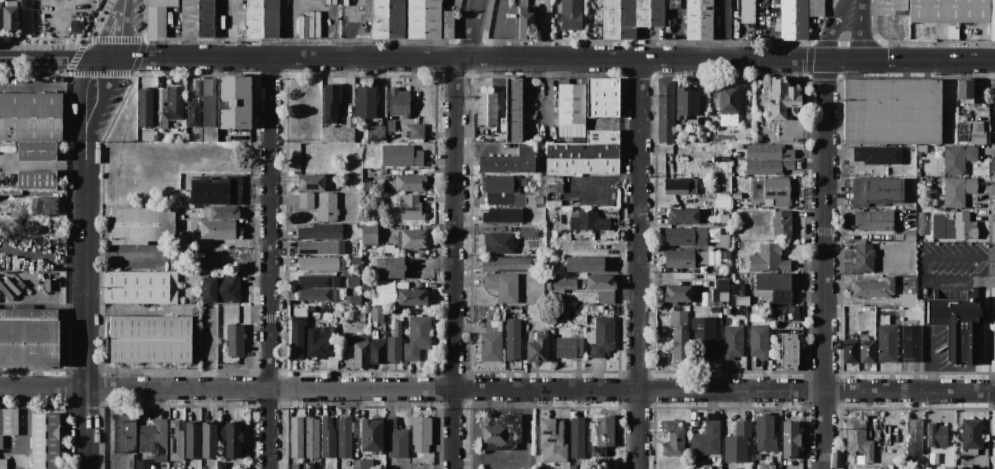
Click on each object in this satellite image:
building: (899, 4)
building: (815, 8)
building: (747, 11)
building: (949, 11)
building: (649, 13)
building: (10, 14)
building: (571, 15)
building: (1, 17)
building: (25, 17)
building: (157, 17)
building: (198, 18)
building: (263, 18)
building: (387, 18)
building: (618, 19)
building: (699, 19)
building: (794, 19)
building: (429, 20)
building: (992, 20)
building: (525, 21)
building: (303, 26)
road: (117, 29)
road: (851, 34)
road: (116, 39)
road: (68, 44)
road: (136, 56)
road: (75, 57)
road: (52, 58)
road: (464, 59)
road: (909, 60)
road: (100, 73)
building: (197, 88)
building: (965, 90)
building: (602, 98)
building: (783, 98)
building: (366, 100)
building: (728, 100)
building: (207, 101)
building: (235, 102)
building: (399, 102)
building: (686, 102)
building: (331, 103)
building: (171, 105)
building: (145, 106)
building: (487, 108)
building: (514, 109)
building: (572, 110)
building: (665, 110)
building: (891, 111)
building: (193, 113)
building: (30, 116)
building: (391, 125)
building: (417, 131)
building: (209, 133)
building: (376, 133)
building: (337, 134)
building: (978, 138)
building: (37, 150)
building: (768, 151)
building: (877, 154)
building: (401, 155)
building: (585, 155)
building: (720, 158)
building: (958, 158)
building: (509, 161)
road: (43, 164)
building: (768, 167)
building: (721, 171)
building: (37, 180)
building: (312, 182)
building: (409, 182)
building: (502, 184)
building: (554, 184)
building: (680, 185)
building: (777, 190)
building: (877, 190)
building: (958, 190)
building: (216, 191)
building: (550, 196)
building: (500, 198)
building: (306, 200)
building: (528, 200)
building: (554, 203)
building: (722, 203)
building: (48, 206)
building: (326, 207)
building: (35, 208)
building: (412, 208)
building: (219, 212)
building: (503, 215)
building: (687, 216)
building: (723, 218)
building: (371, 219)
building: (873, 220)
building: (589, 221)
building: (921, 223)
building: (142, 225)
building: (181, 225)
building: (781, 225)
building: (965, 226)
building: (942, 227)
building: (219, 229)
building: (321, 231)
building: (529, 231)
road: (454, 232)
building: (369, 233)
building: (180, 235)
building: (910, 235)
building: (685, 236)
building: (412, 238)
building: (21, 242)
building: (189, 243)
building: (499, 243)
building: (320, 247)
building: (540, 252)
road: (122, 253)
building: (864, 257)
building: (681, 258)
building: (769, 259)
building: (356, 260)
road: (85, 262)
road: (268, 263)
building: (320, 263)
road: (638, 263)
building: (504, 264)
building: (584, 264)
road: (824, 264)
building: (395, 267)
road: (923, 271)
building: (352, 281)
building: (772, 281)
building: (318, 282)
building: (601, 282)
building: (561, 284)
building: (502, 286)
building: (140, 287)
building: (368, 287)
building: (221, 288)
building: (874, 288)
building: (722, 289)
building: (681, 293)
building: (315, 294)
building: (407, 297)
building: (782, 298)
building: (353, 300)
building: (742, 301)
building: (909, 301)
building: (367, 308)
building: (358, 309)
building: (379, 312)
building: (783, 312)
building: (678, 317)
building: (958, 326)
building: (347, 330)
building: (705, 335)
building: (29, 336)
building: (602, 336)
building: (417, 337)
building: (149, 338)
building: (297, 338)
building: (235, 339)
building: (513, 339)
building: (491, 341)
building: (733, 341)
building: (758, 341)
building: (395, 343)
building: (887, 343)
building: (912, 343)
building: (319, 344)
building: (679, 344)
building: (569, 347)
building: (537, 348)
building: (377, 350)
building: (361, 351)
building: (851, 351)
building: (868, 351)
building: (790, 352)
road: (931, 360)
road: (497, 388)
building: (7, 423)
building: (357, 430)
building: (125, 432)
building: (500, 432)
building: (764, 432)
building: (936, 433)
building: (371, 434)
building: (421, 434)
building: (971, 435)
building: (296, 437)
building: (327, 437)
building: (577, 437)
building: (234, 438)
building: (312, 438)
building: (344, 438)
building: (603, 438)
building: (707, 438)
building: (153, 439)
building: (209, 439)
building: (396, 439)
building: (673, 439)
building: (789, 439)
building: (915, 439)
building: (44, 440)
building: (192, 440)
building: (552, 440)
building: (858, 440)
building: (175, 442)
building: (737, 443)
building: (130, 461)
building: (3, 463)
building: (143, 463)
building: (362, 464)
building: (765, 467)
building: (964, 467)
building: (530, 468)
building: (718, 468)

